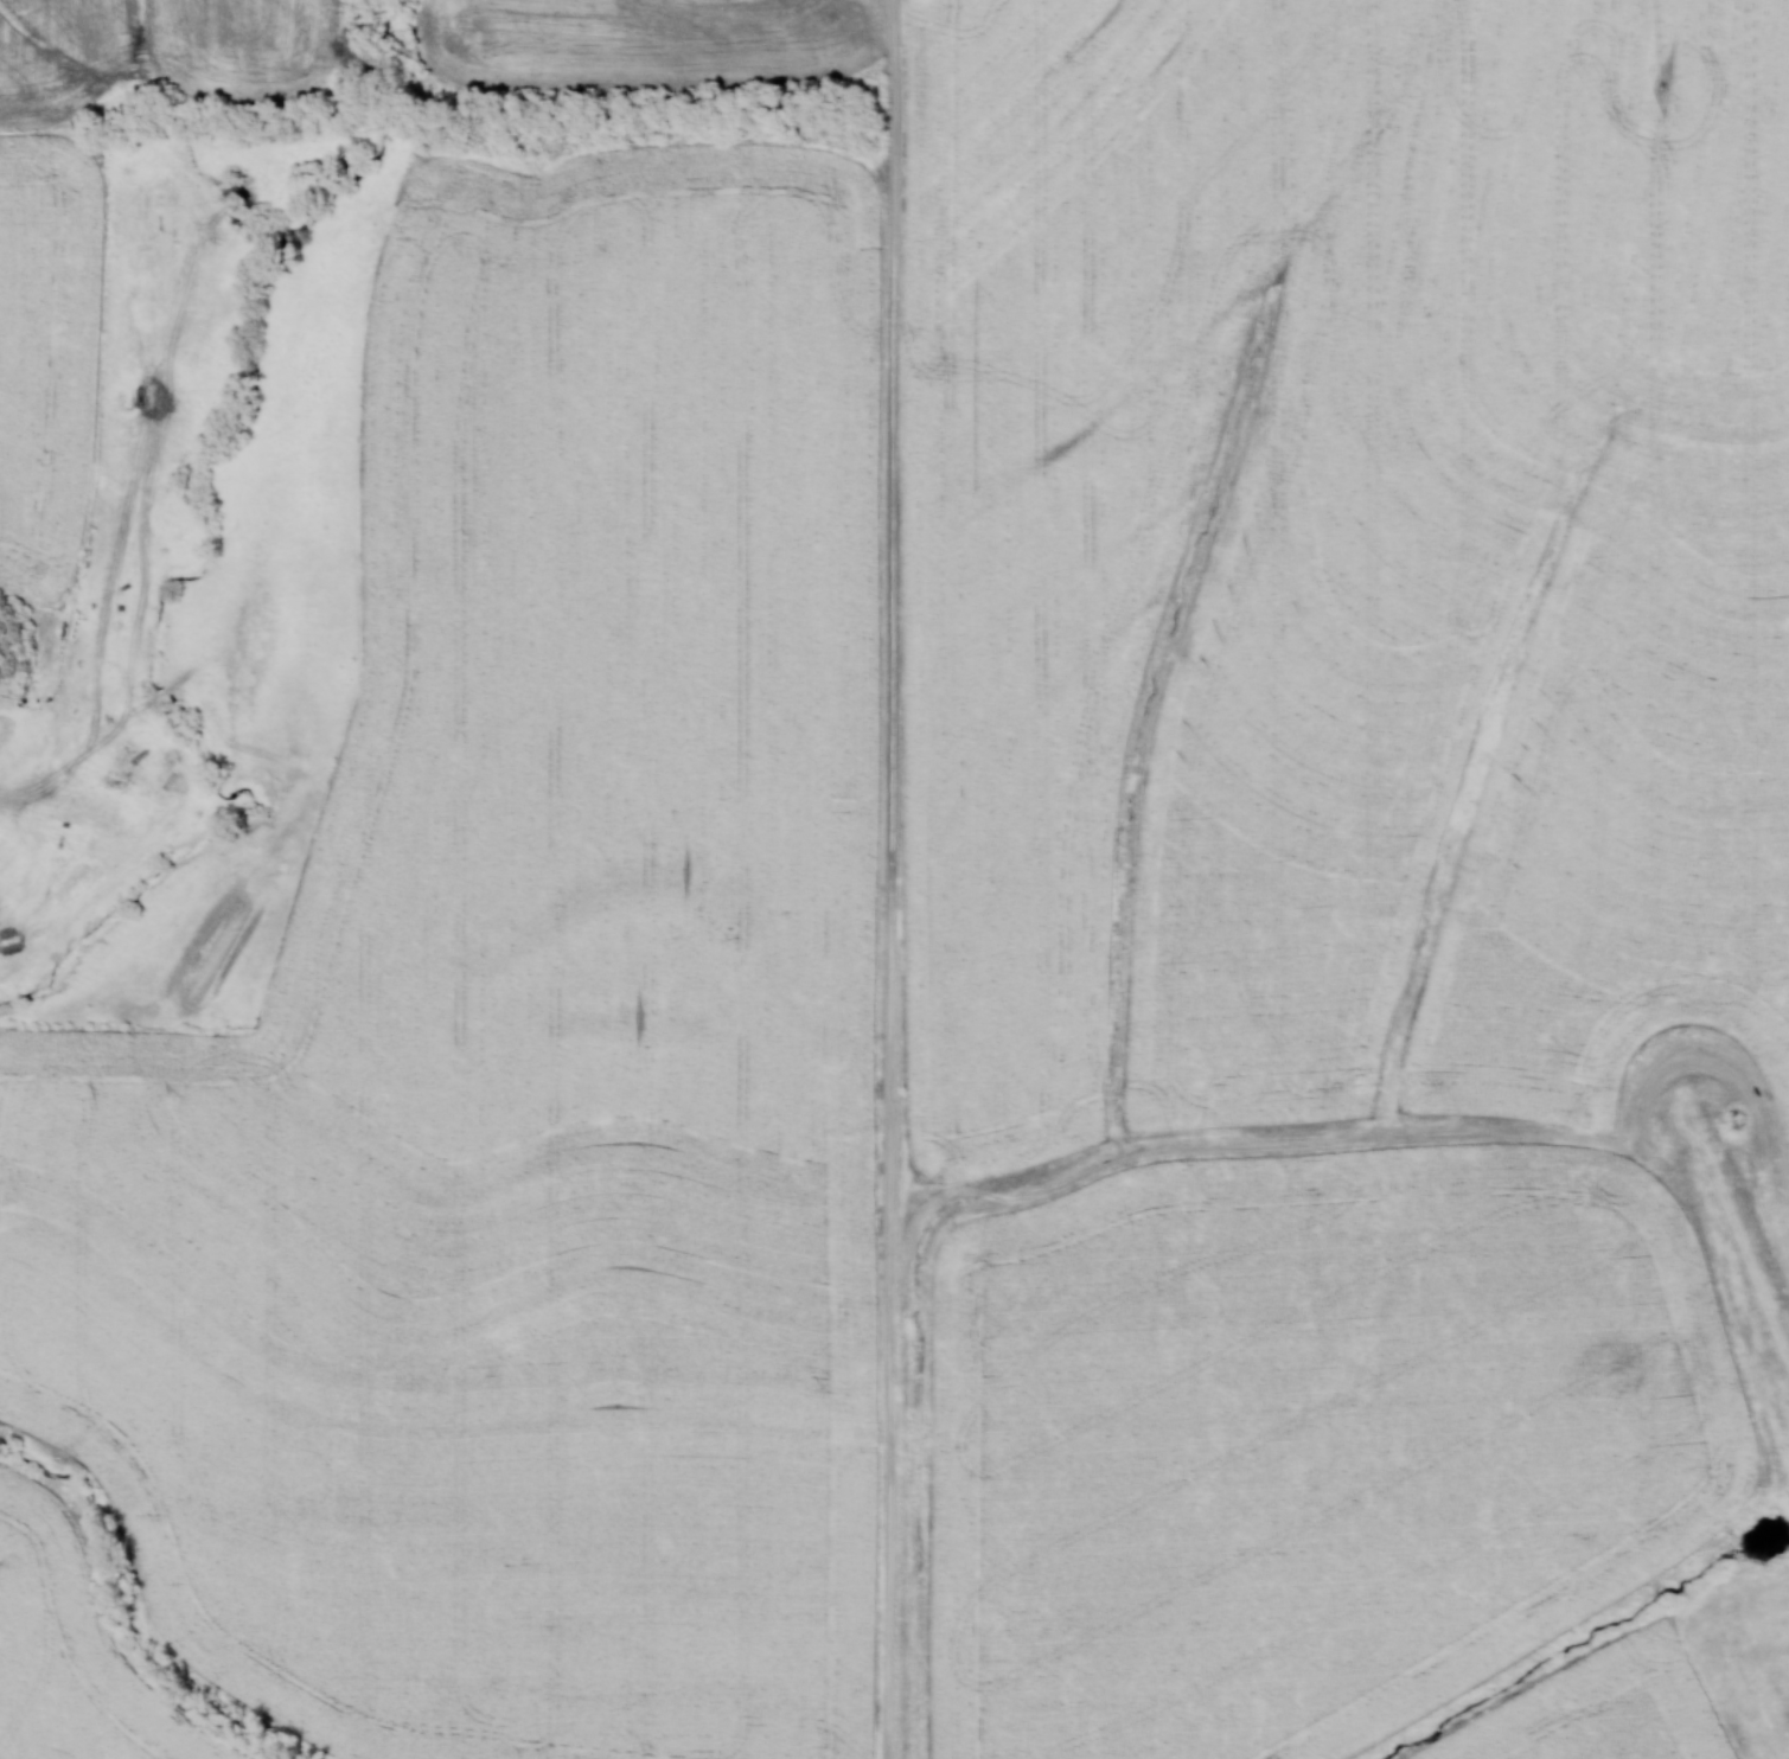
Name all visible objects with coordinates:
road: (893, 878)

